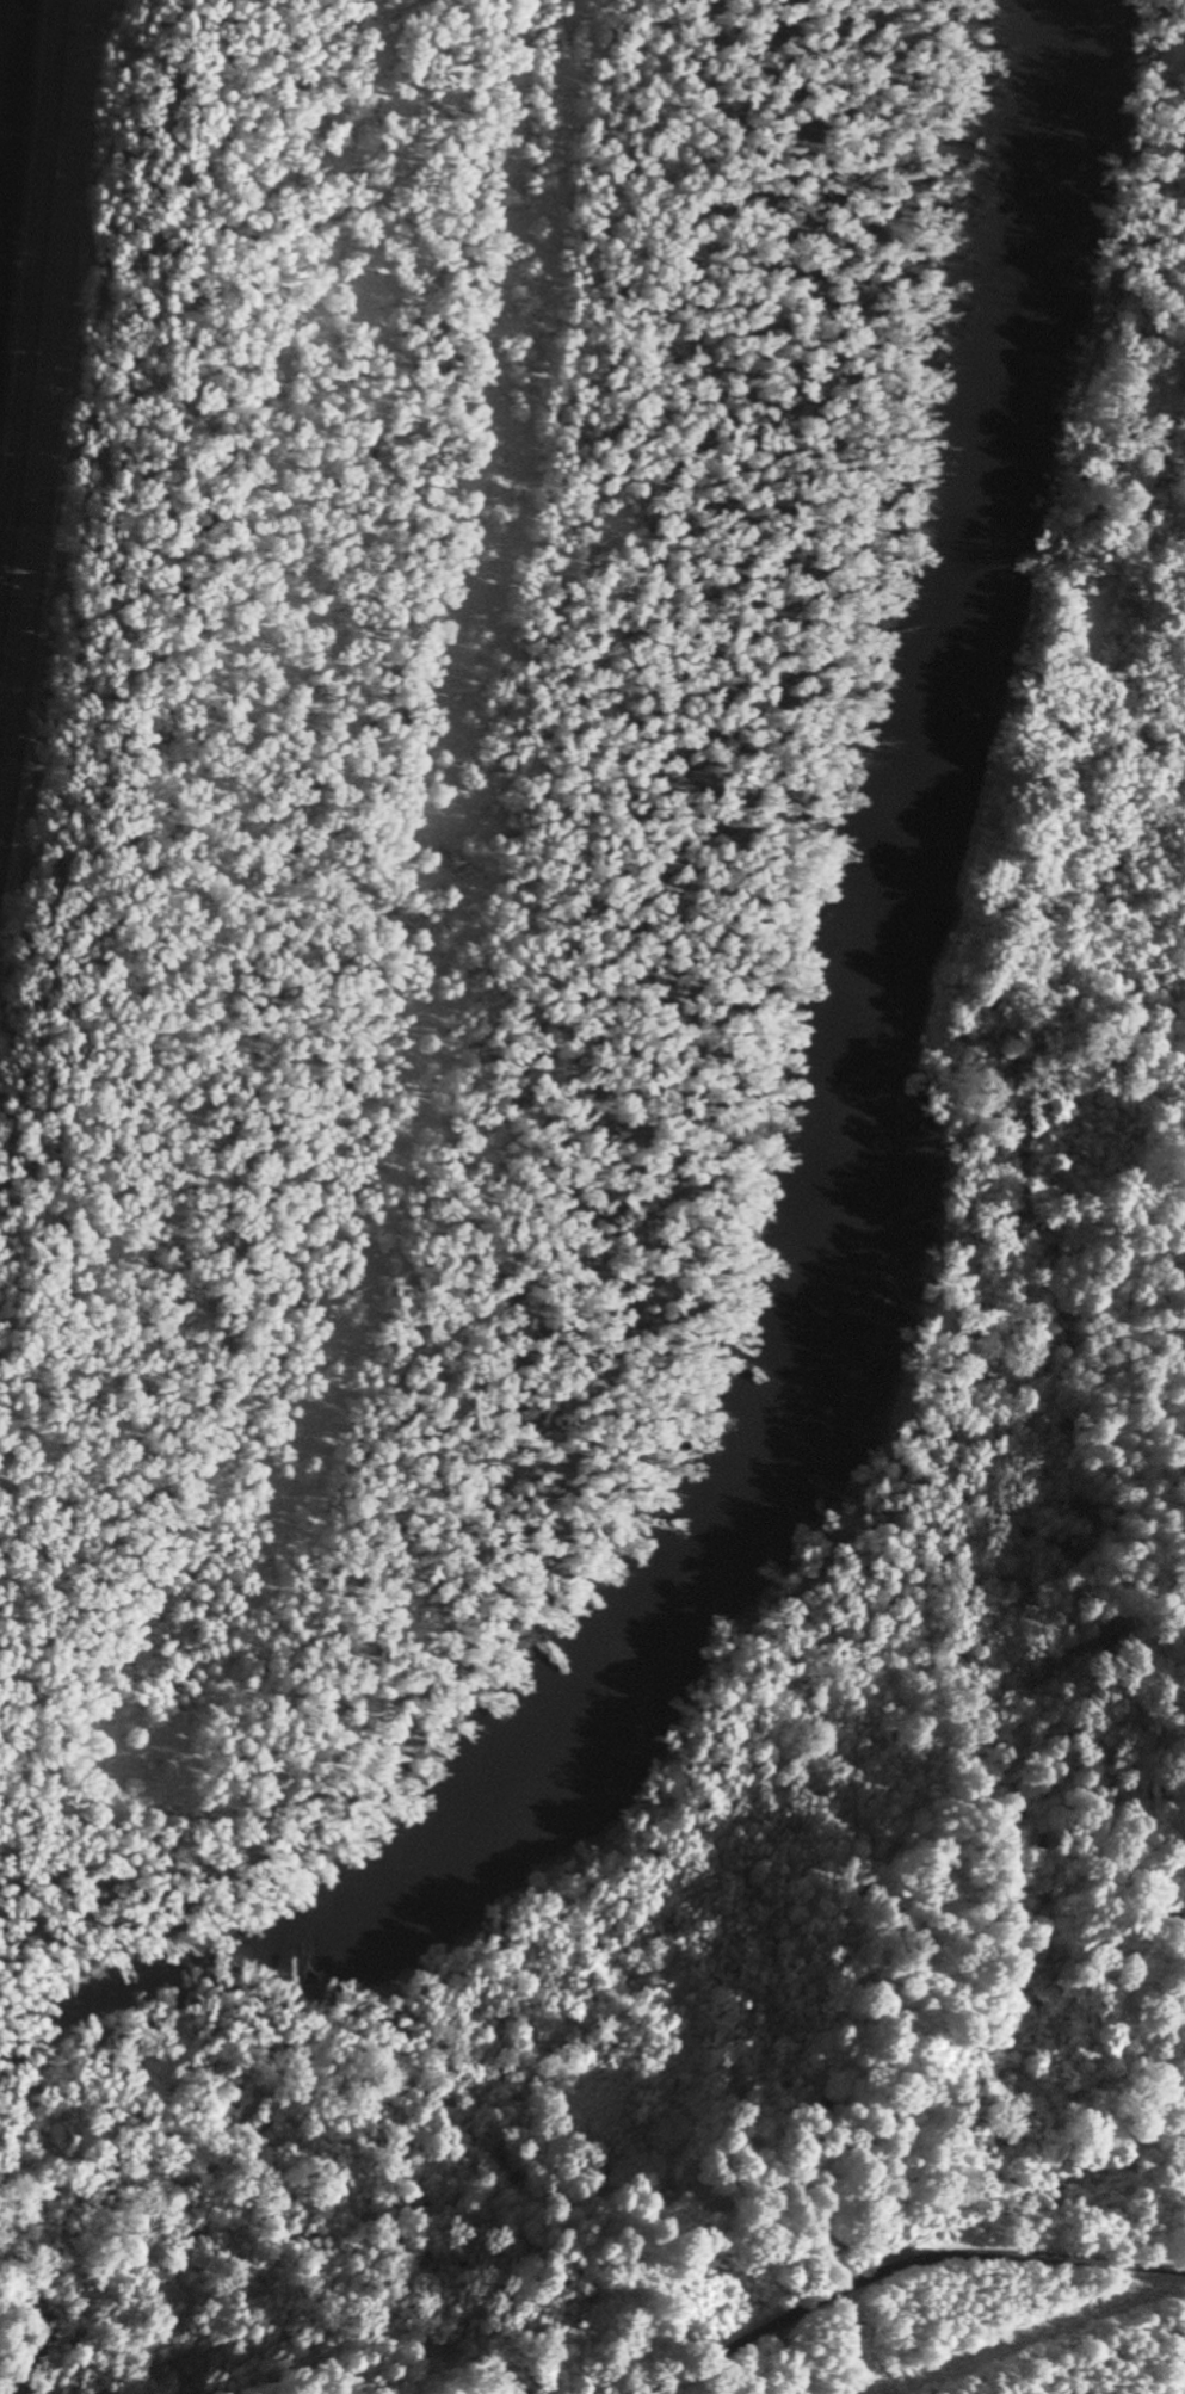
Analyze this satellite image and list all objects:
road: (880, 2133)
road: (903, 2259)
road: (760, 2365)

